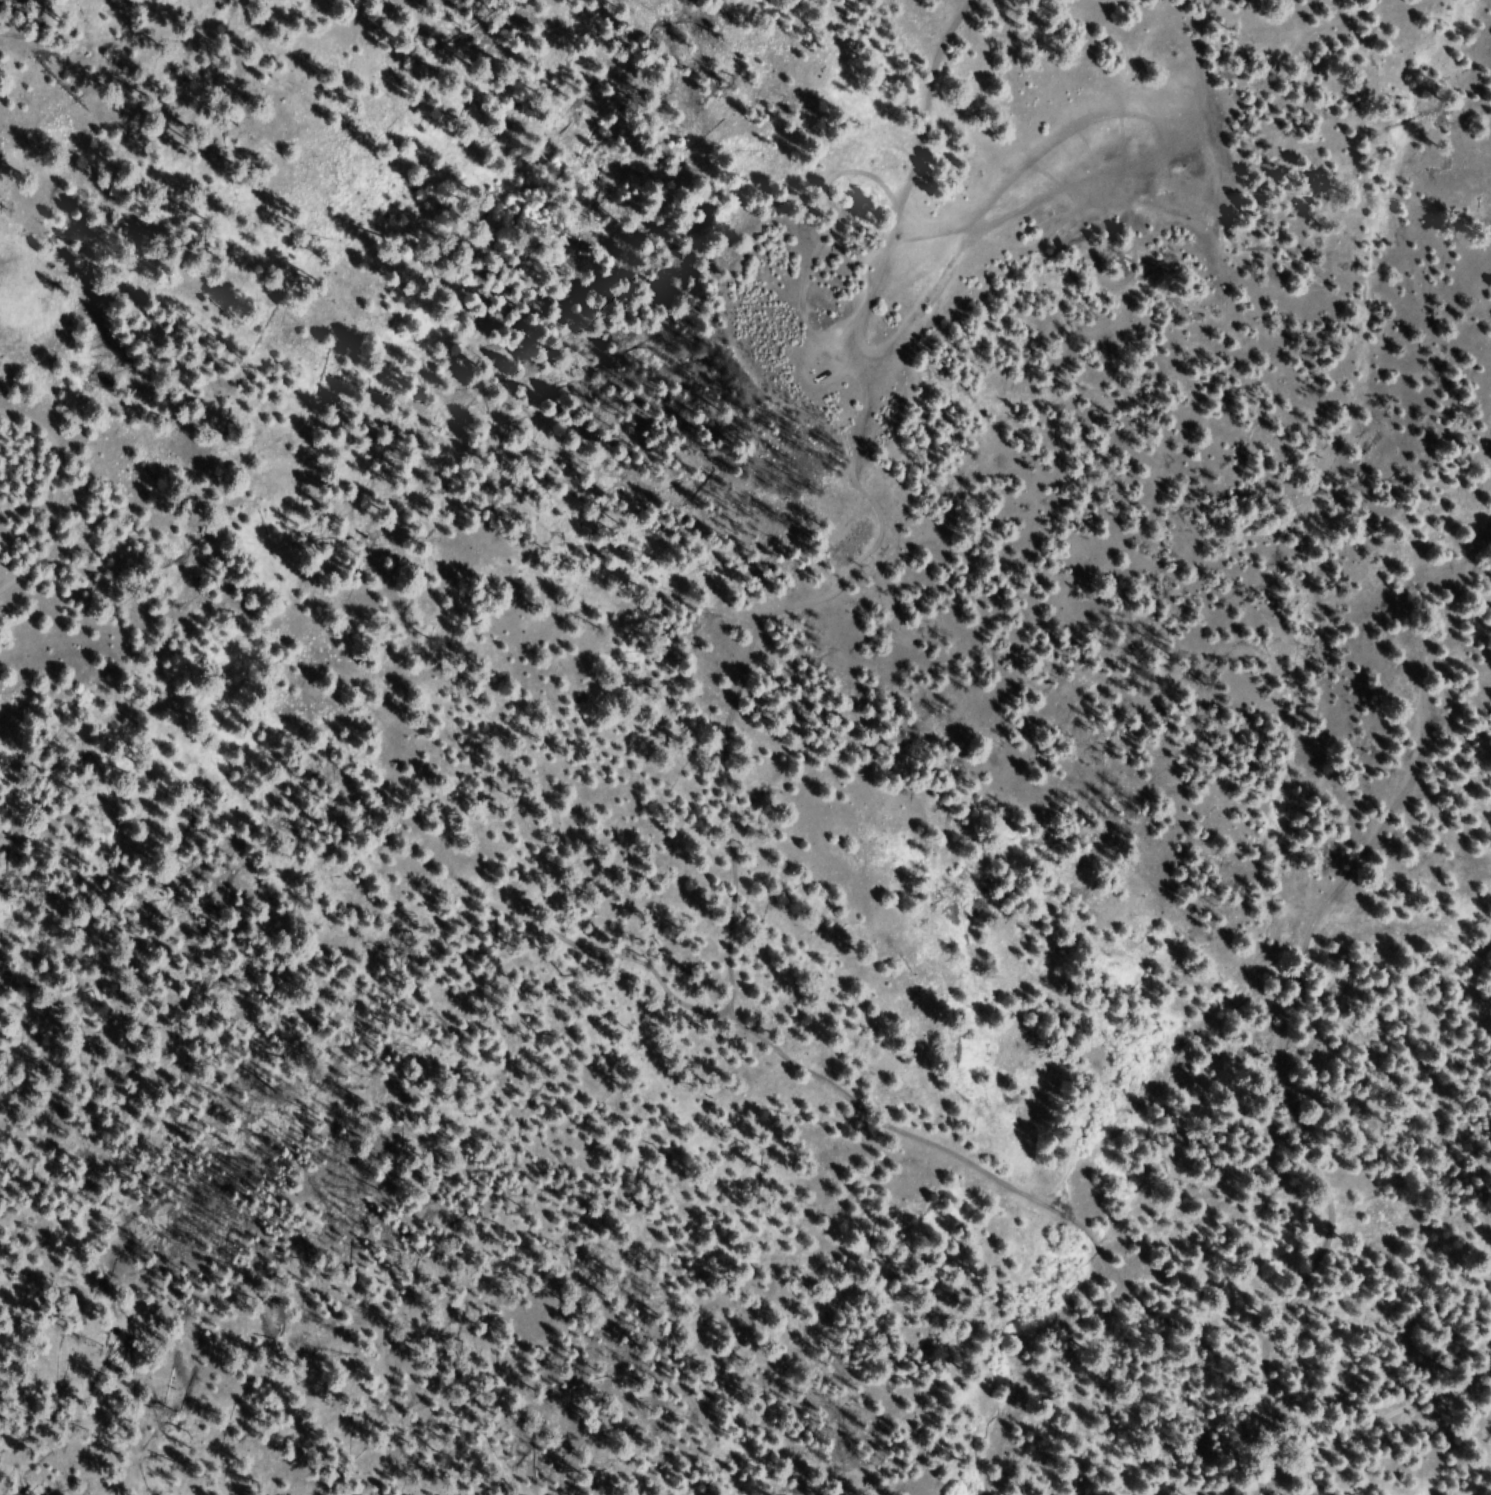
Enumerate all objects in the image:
road: (935, 298)
road: (1372, 1416)

